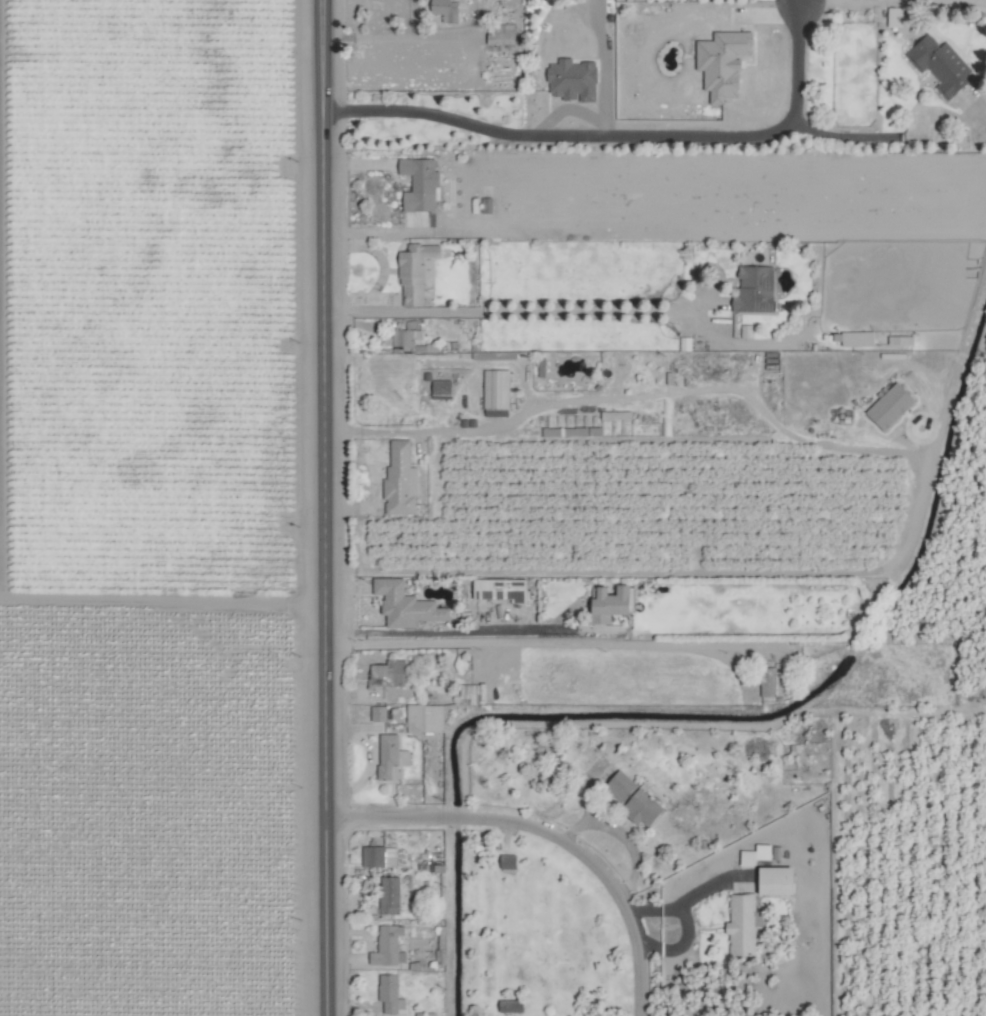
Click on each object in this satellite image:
road: (796, 2)
road: (799, 2)
building: (446, 9)
building: (502, 33)
road: (388, 34)
building: (723, 62)
building: (939, 63)
building: (573, 79)
road: (617, 137)
road: (855, 138)
building: (420, 183)
building: (416, 272)
building: (754, 289)
road: (501, 313)
building: (746, 330)
building: (405, 335)
building: (858, 338)
building: (441, 389)
building: (496, 392)
building: (890, 406)
building: (619, 414)
road: (511, 421)
building: (400, 480)
crop: (678, 505)
road: (325, 508)
crop: (493, 508)
building: (499, 589)
building: (610, 603)
building: (405, 605)
road: (459, 630)
road: (527, 643)
building: (388, 674)
building: (769, 680)
building: (424, 716)
building: (391, 756)
building: (636, 797)
road: (549, 831)
road: (616, 837)
building: (379, 855)
building: (508, 860)
building: (777, 879)
building: (389, 894)
road: (688, 896)
building: (743, 923)
building: (388, 945)
road: (683, 946)
building: (390, 992)
building: (511, 1005)

